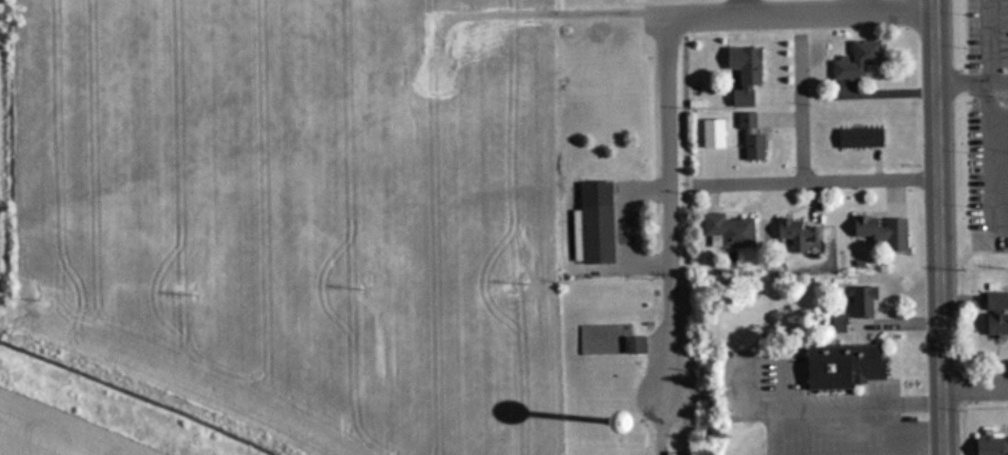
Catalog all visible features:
road: (853, 6)
road: (742, 7)
road: (799, 12)
road: (541, 16)
building: (853, 60)
road: (985, 64)
building: (741, 73)
road: (993, 81)
road: (881, 96)
road: (801, 110)
parking lot: (988, 119)
building: (747, 138)
building: (857, 138)
road: (990, 158)
road: (814, 182)
road: (670, 206)
building: (592, 224)
road: (938, 227)
building: (728, 230)
building: (878, 231)
building: (793, 234)
building: (860, 302)
building: (995, 302)
building: (831, 323)
road: (910, 324)
building: (994, 324)
building: (598, 338)
road: (961, 338)
building: (840, 365)
road: (985, 366)
road: (740, 376)
road: (974, 384)
road: (782, 385)
road: (702, 395)
road: (858, 406)
road: (985, 407)
parking lot: (810, 410)
road: (771, 411)
building: (573, 421)
water tower: (574, 421)
road: (661, 426)
road: (892, 430)
building: (989, 446)

